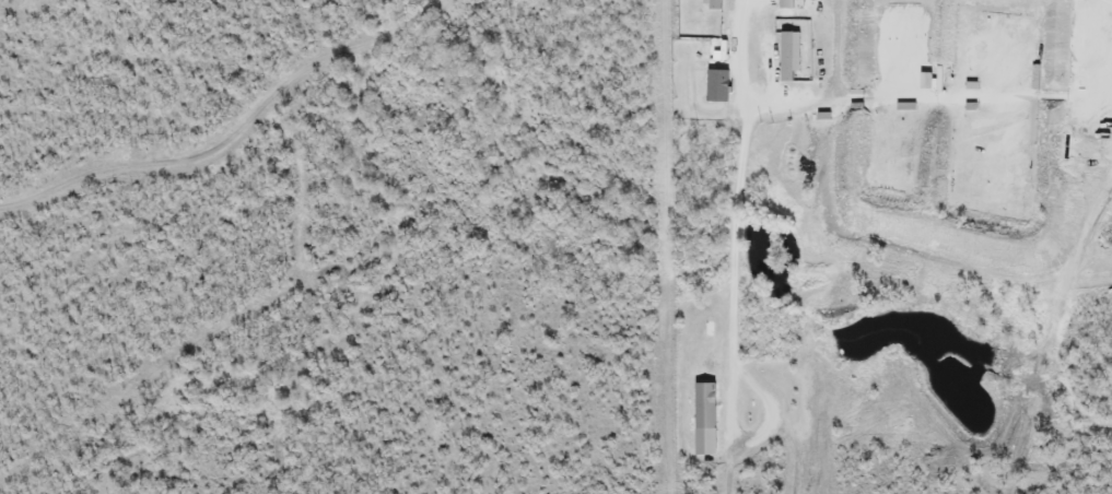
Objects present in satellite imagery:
road: (1104, 3)
road: (938, 98)
road: (233, 132)
road: (738, 223)
road: (662, 247)

